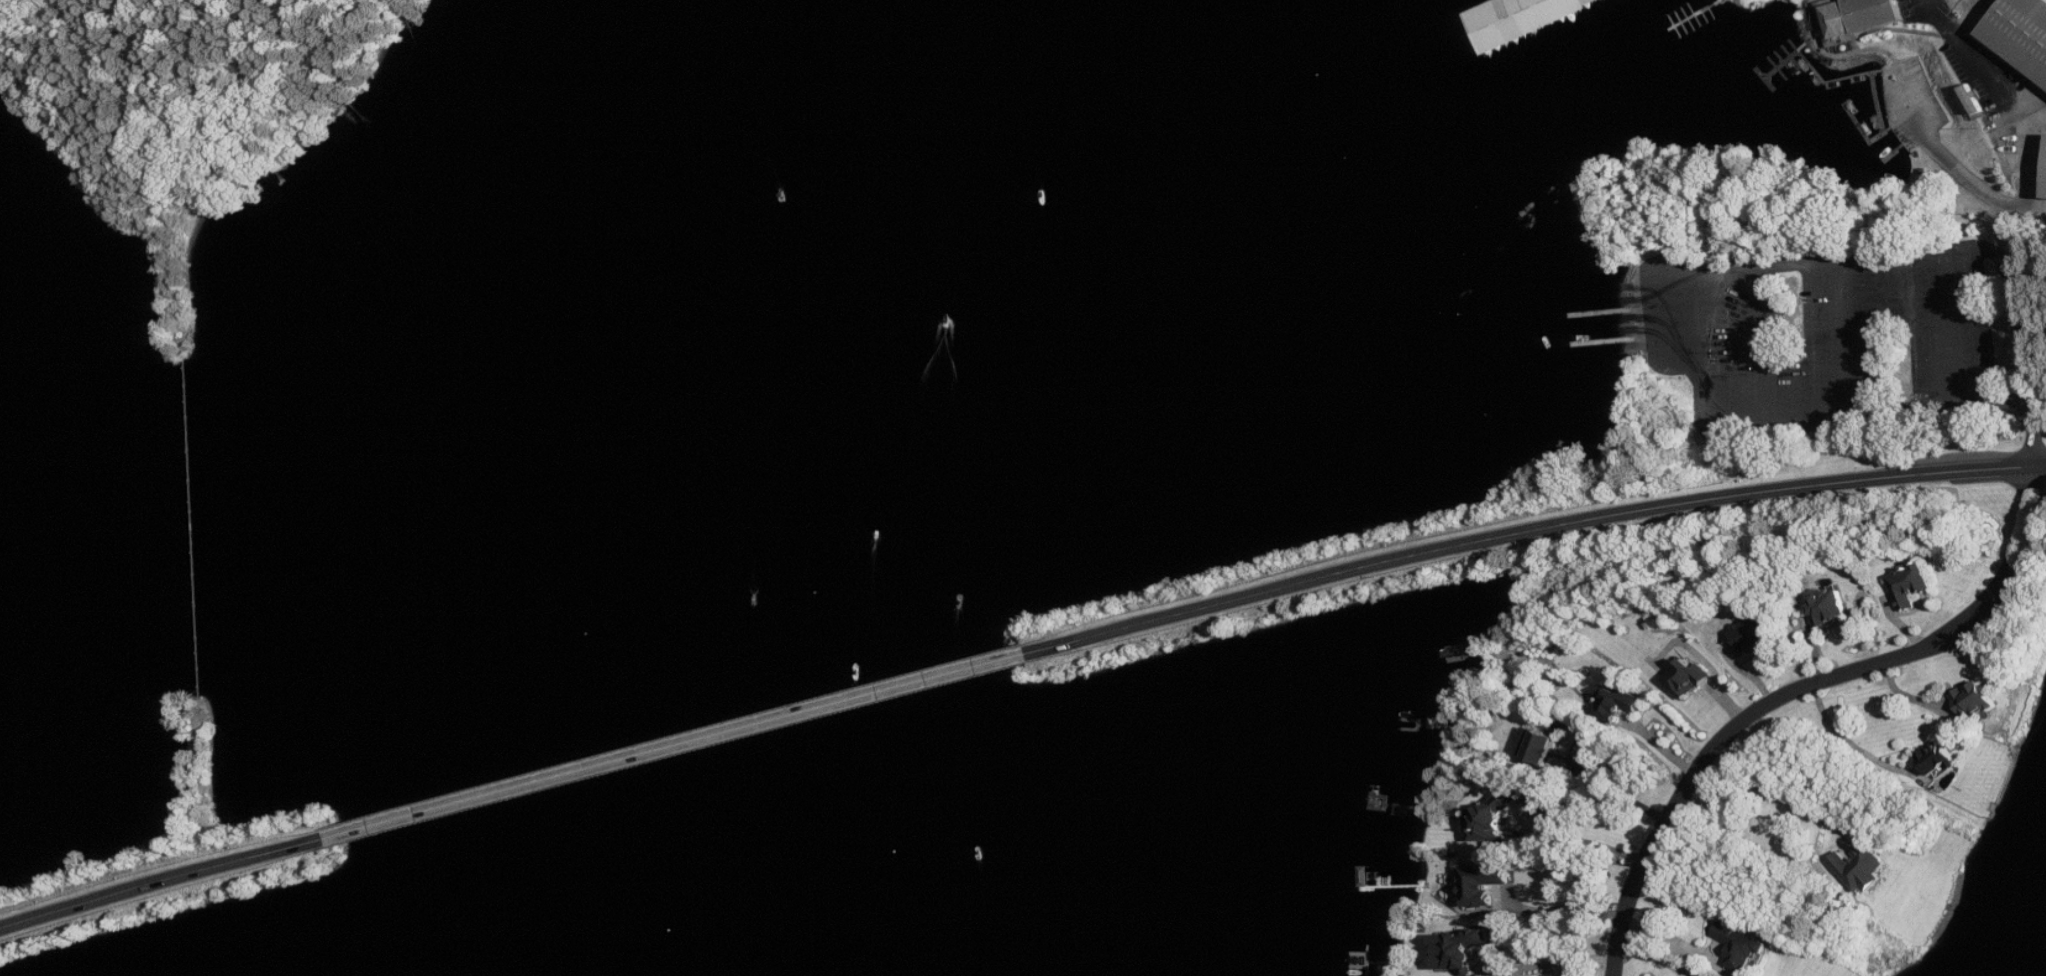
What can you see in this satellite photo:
building: (1861, 18)
building: (2023, 34)
road: (1965, 48)
road: (1921, 254)
park: (1816, 308)
road: (1658, 328)
road: (1953, 328)
road: (1843, 338)
road: (1769, 344)
road: (1792, 418)
road: (2035, 434)
road: (1926, 475)
river: (728, 476)
road: (1418, 550)
building: (1911, 586)
building: (1829, 607)
building: (1754, 633)
road: (1717, 677)
building: (1688, 679)
road: (1804, 691)
road: (1911, 696)
building: (1974, 700)
building: (1621, 701)
road: (680, 744)
road: (1853, 744)
building: (1541, 747)
road: (1661, 748)
building: (1940, 761)
road: (1620, 792)
road: (1782, 797)
building: (1492, 819)
road: (1585, 842)
building: (1862, 868)
road: (160, 881)
building: (1481, 886)
road: (1567, 909)
road: (1674, 937)
building: (1459, 950)
building: (1745, 951)
road: (1658, 958)
road: (1554, 964)

